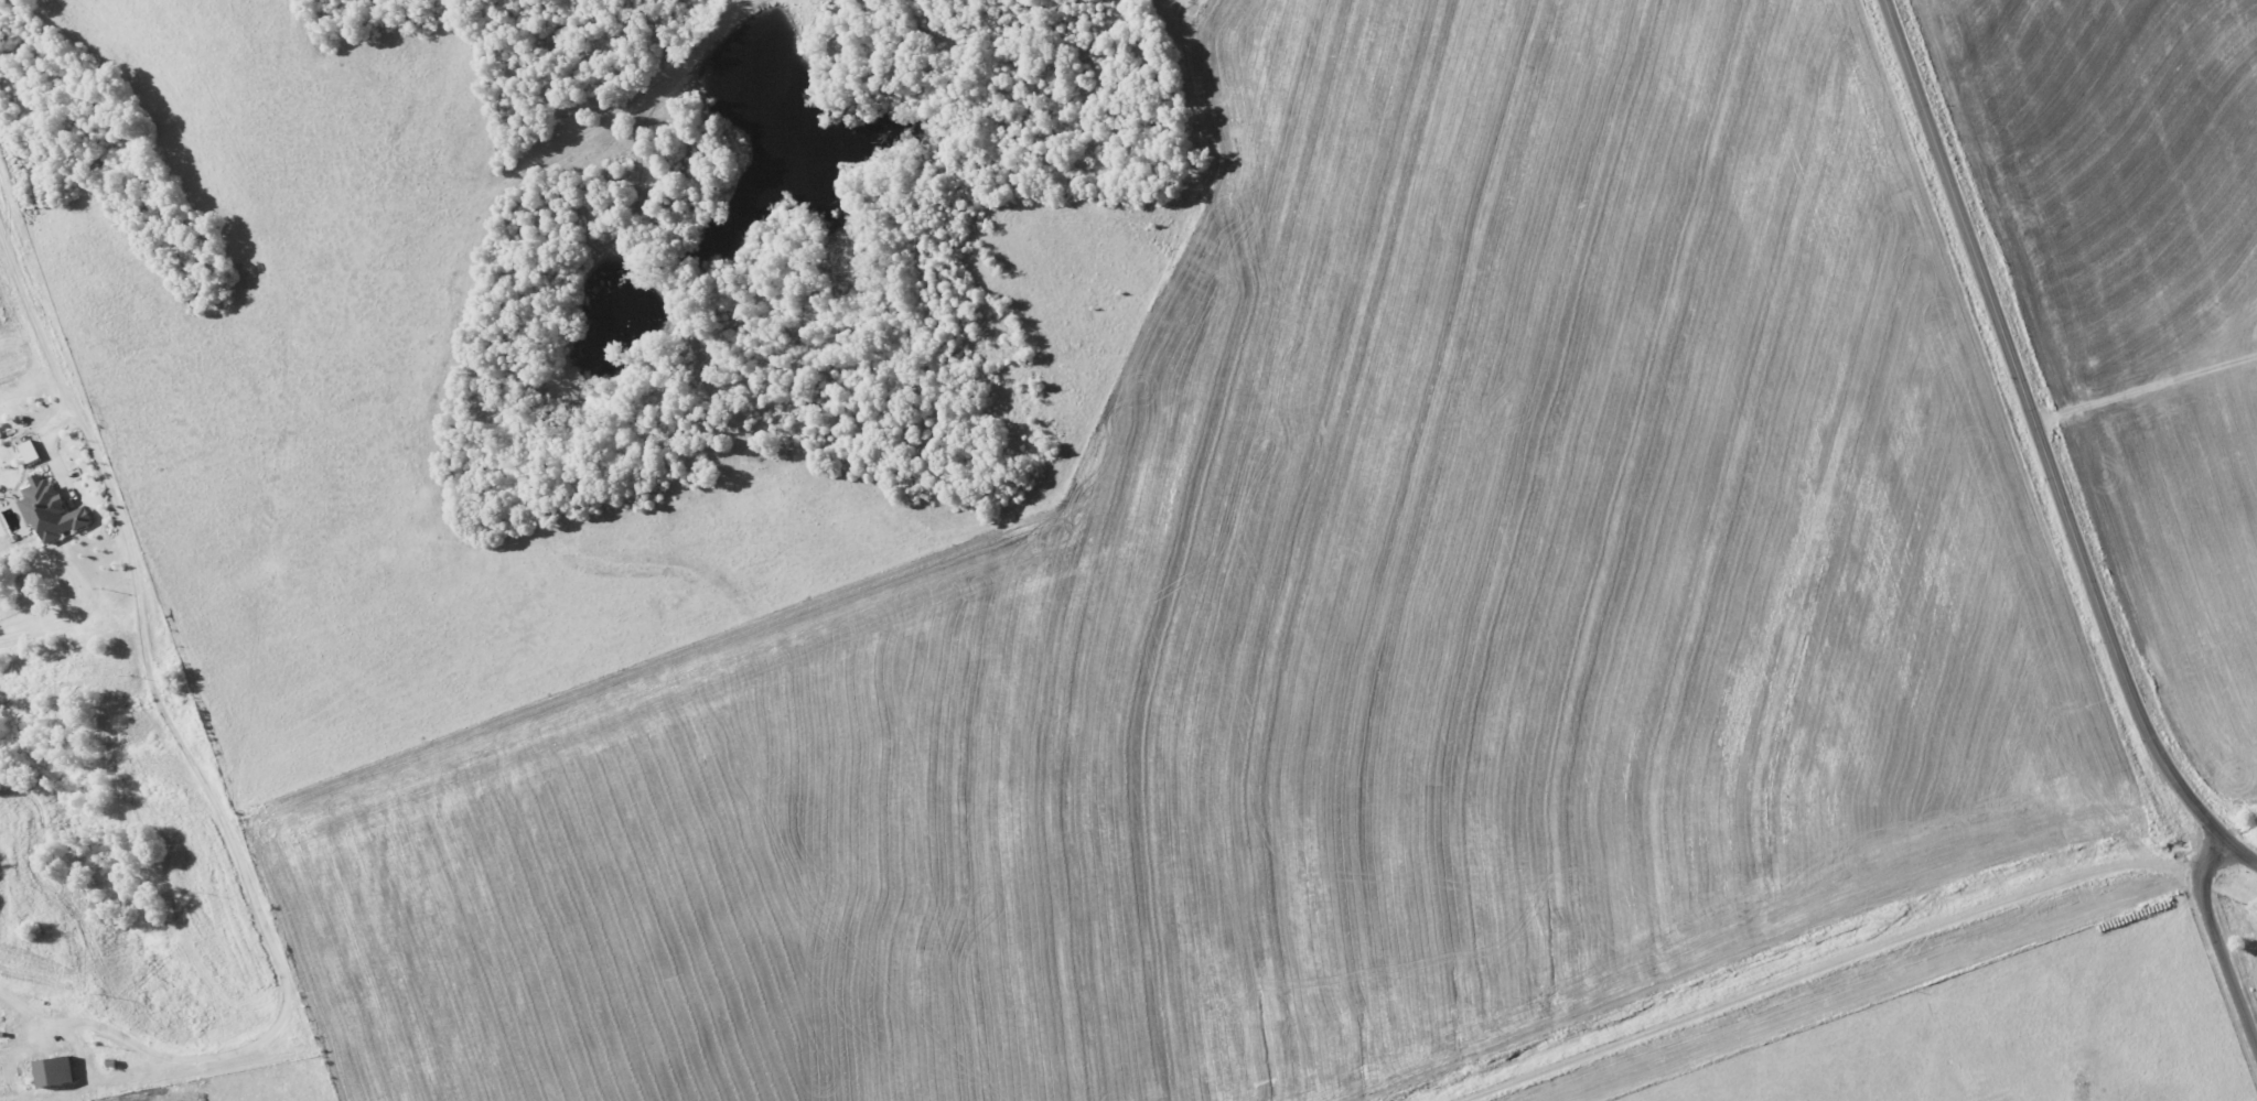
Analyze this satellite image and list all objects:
road: (2043, 446)
building: (31, 452)
building: (54, 510)
road: (176, 717)
road: (2201, 890)
building: (58, 1071)

